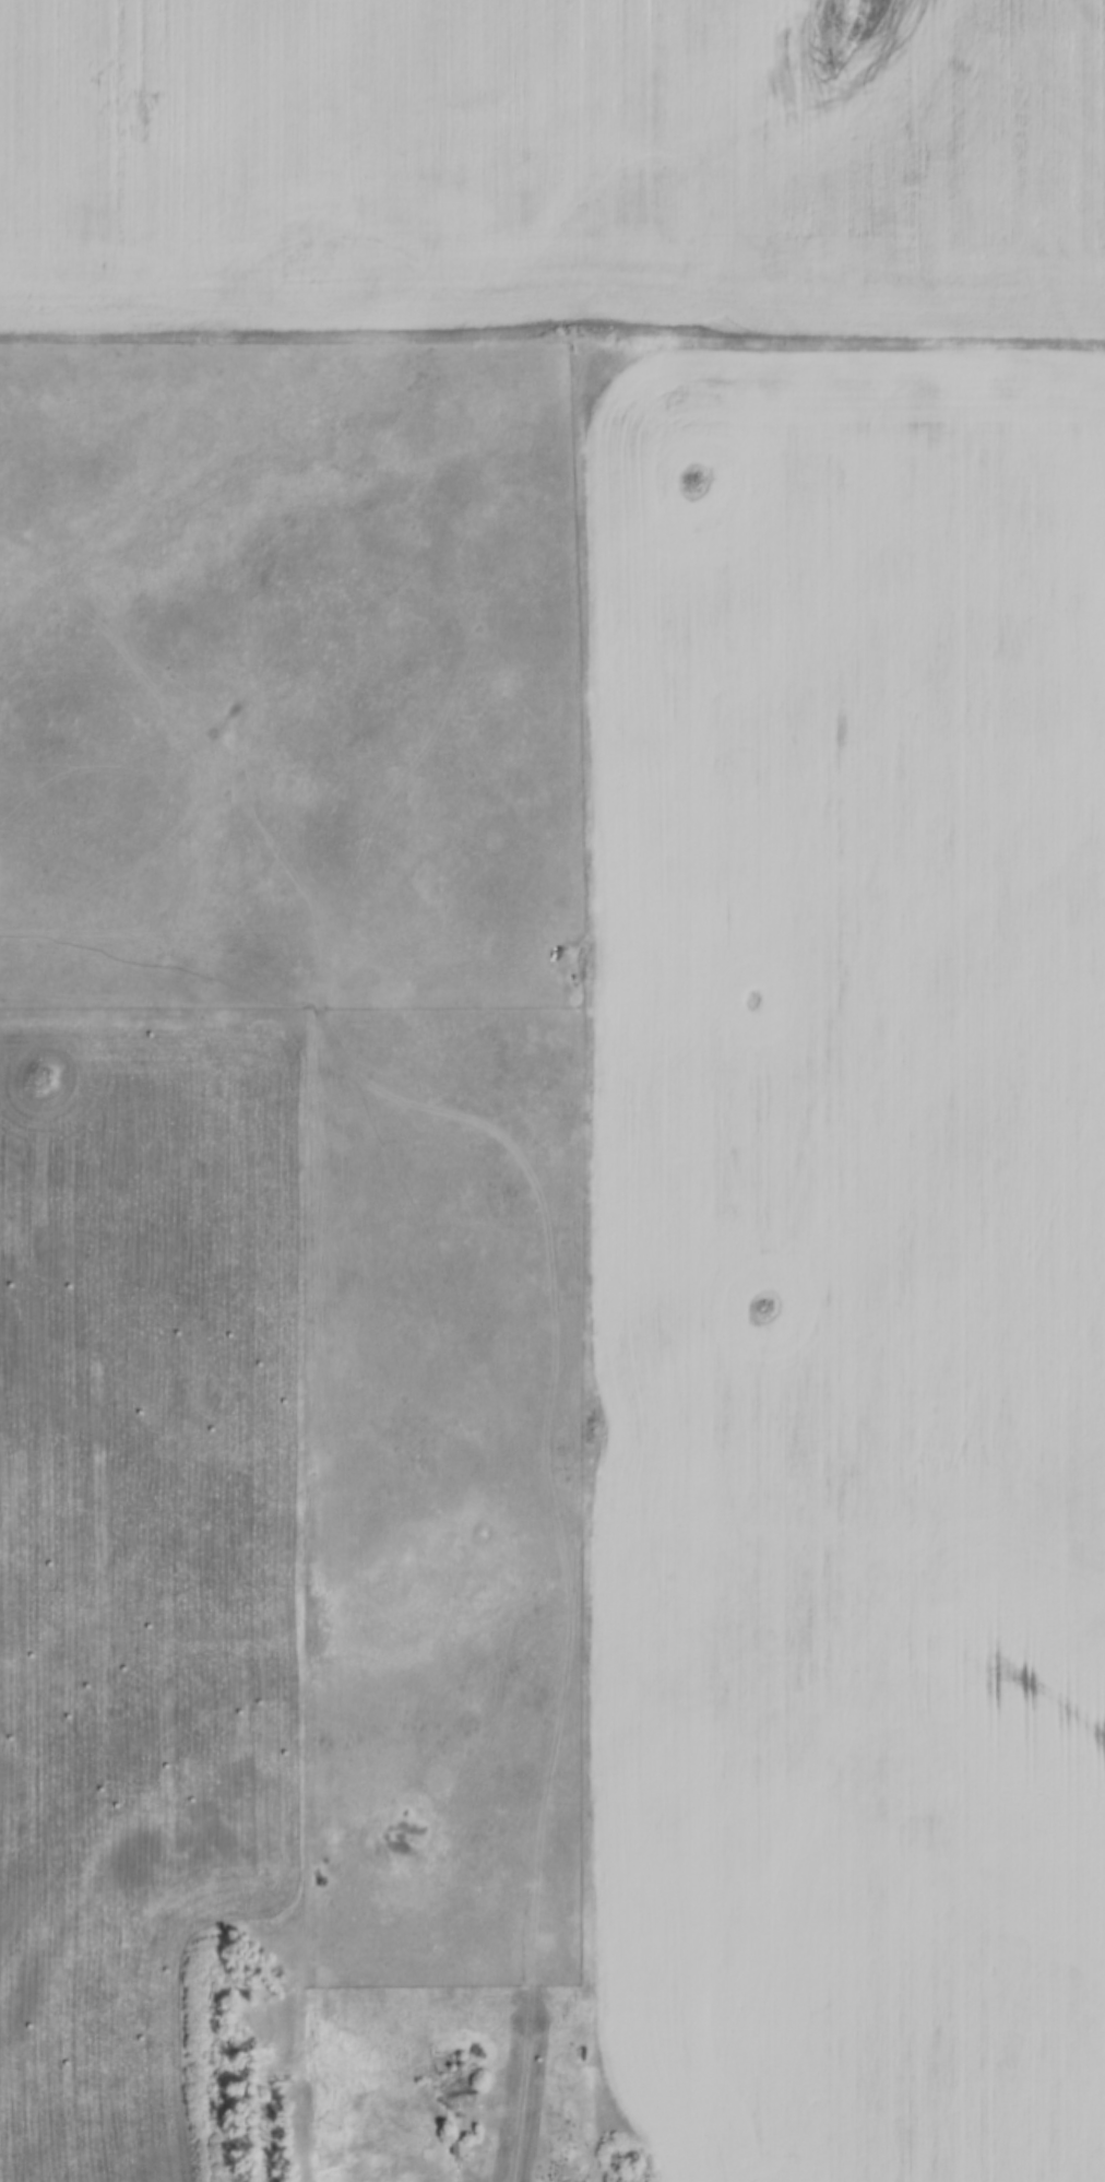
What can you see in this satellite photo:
building: (519, 1852)
building: (441, 2064)
road: (501, 2136)
building: (458, 2150)

